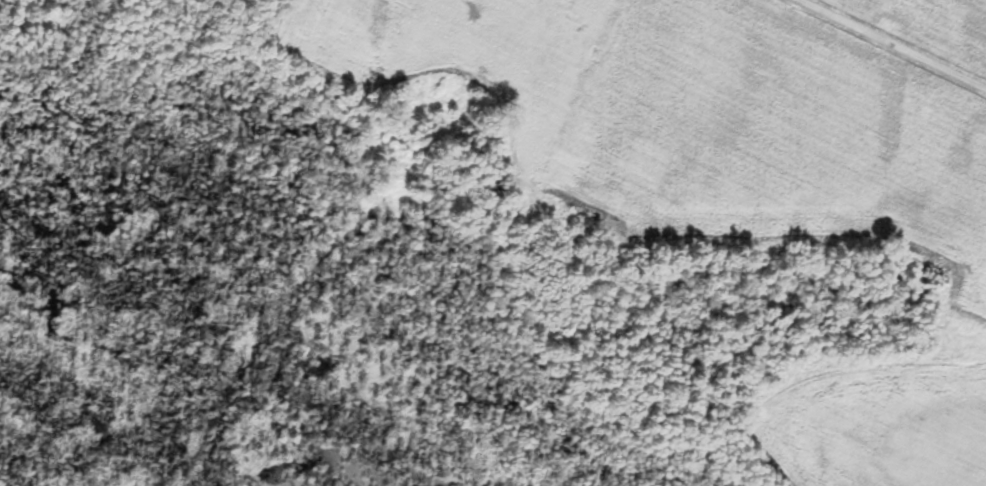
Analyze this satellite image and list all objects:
road: (924, 28)

